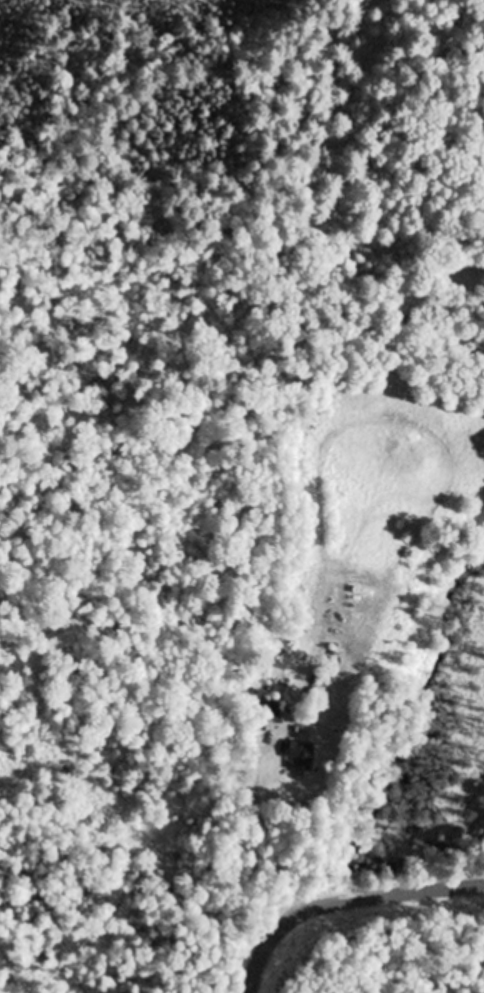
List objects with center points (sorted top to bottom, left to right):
building: (303, 755)
road: (343, 900)

